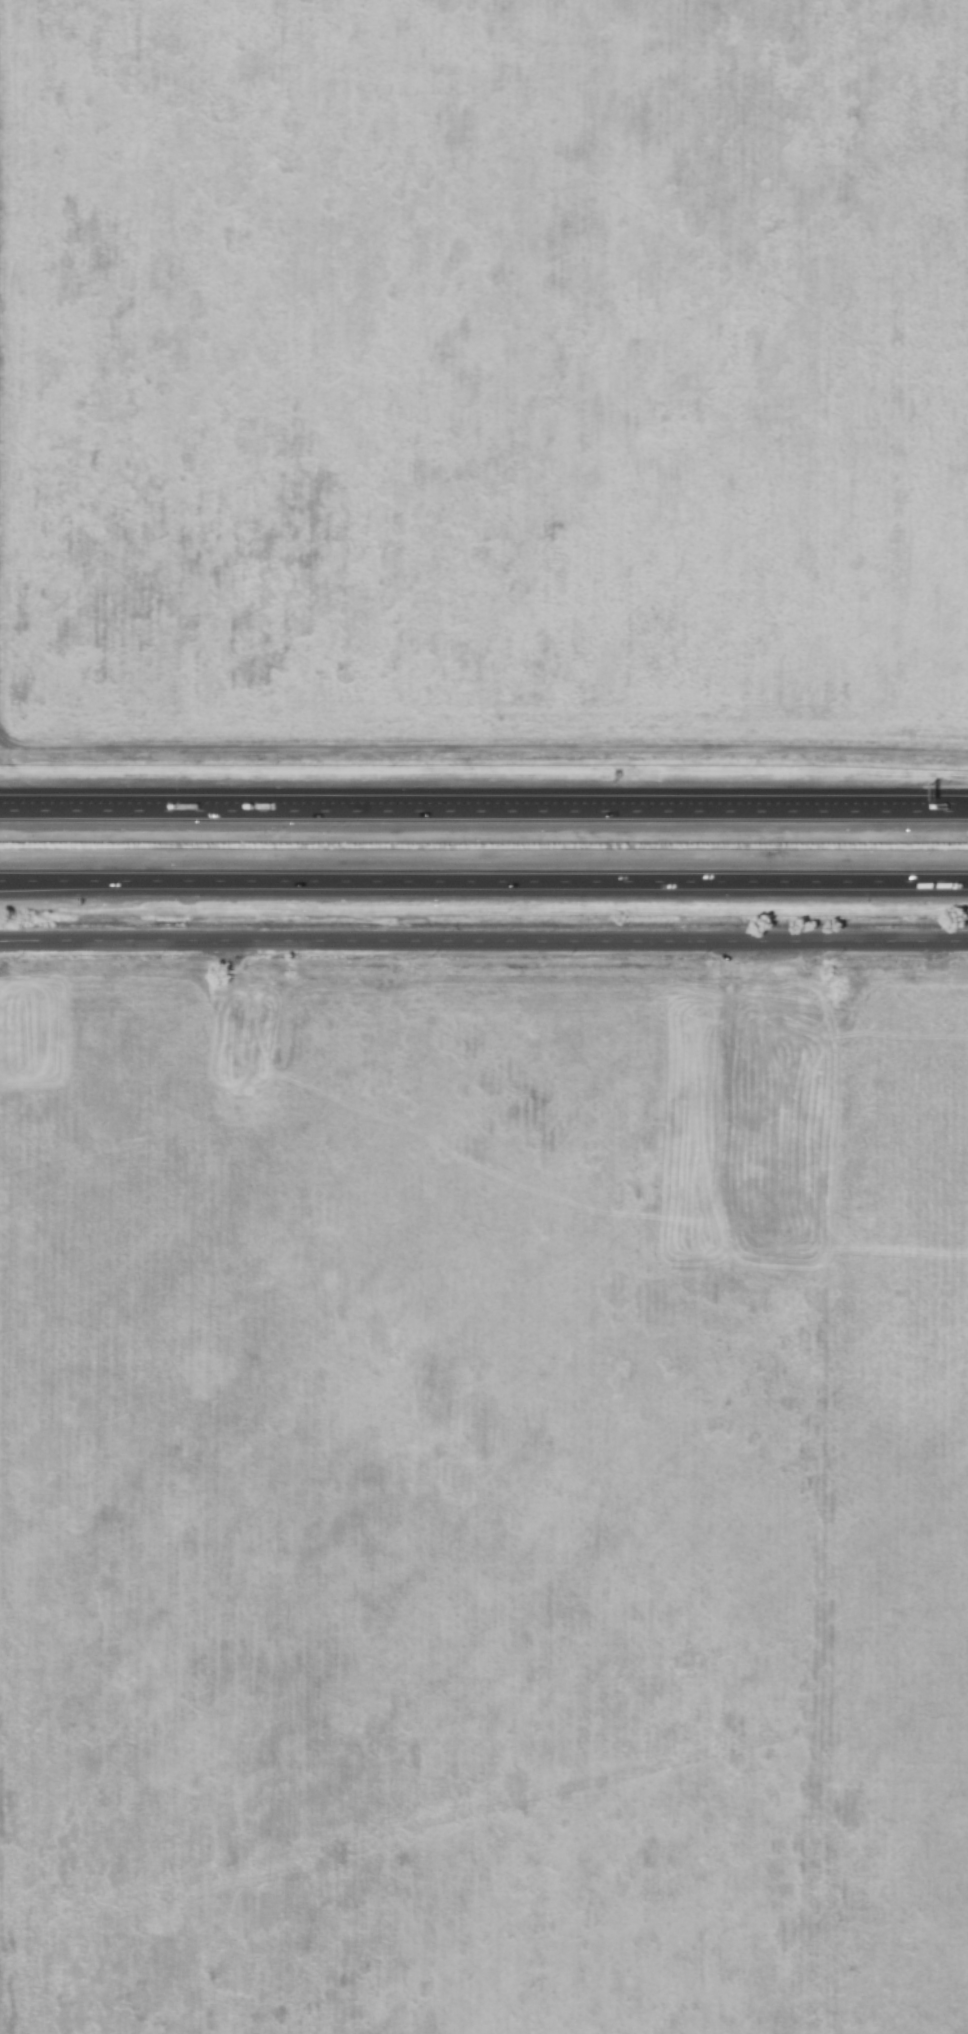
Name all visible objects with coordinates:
airport: (484, 382)
road: (513, 811)
road: (29, 812)
road: (484, 882)
road: (483, 941)

